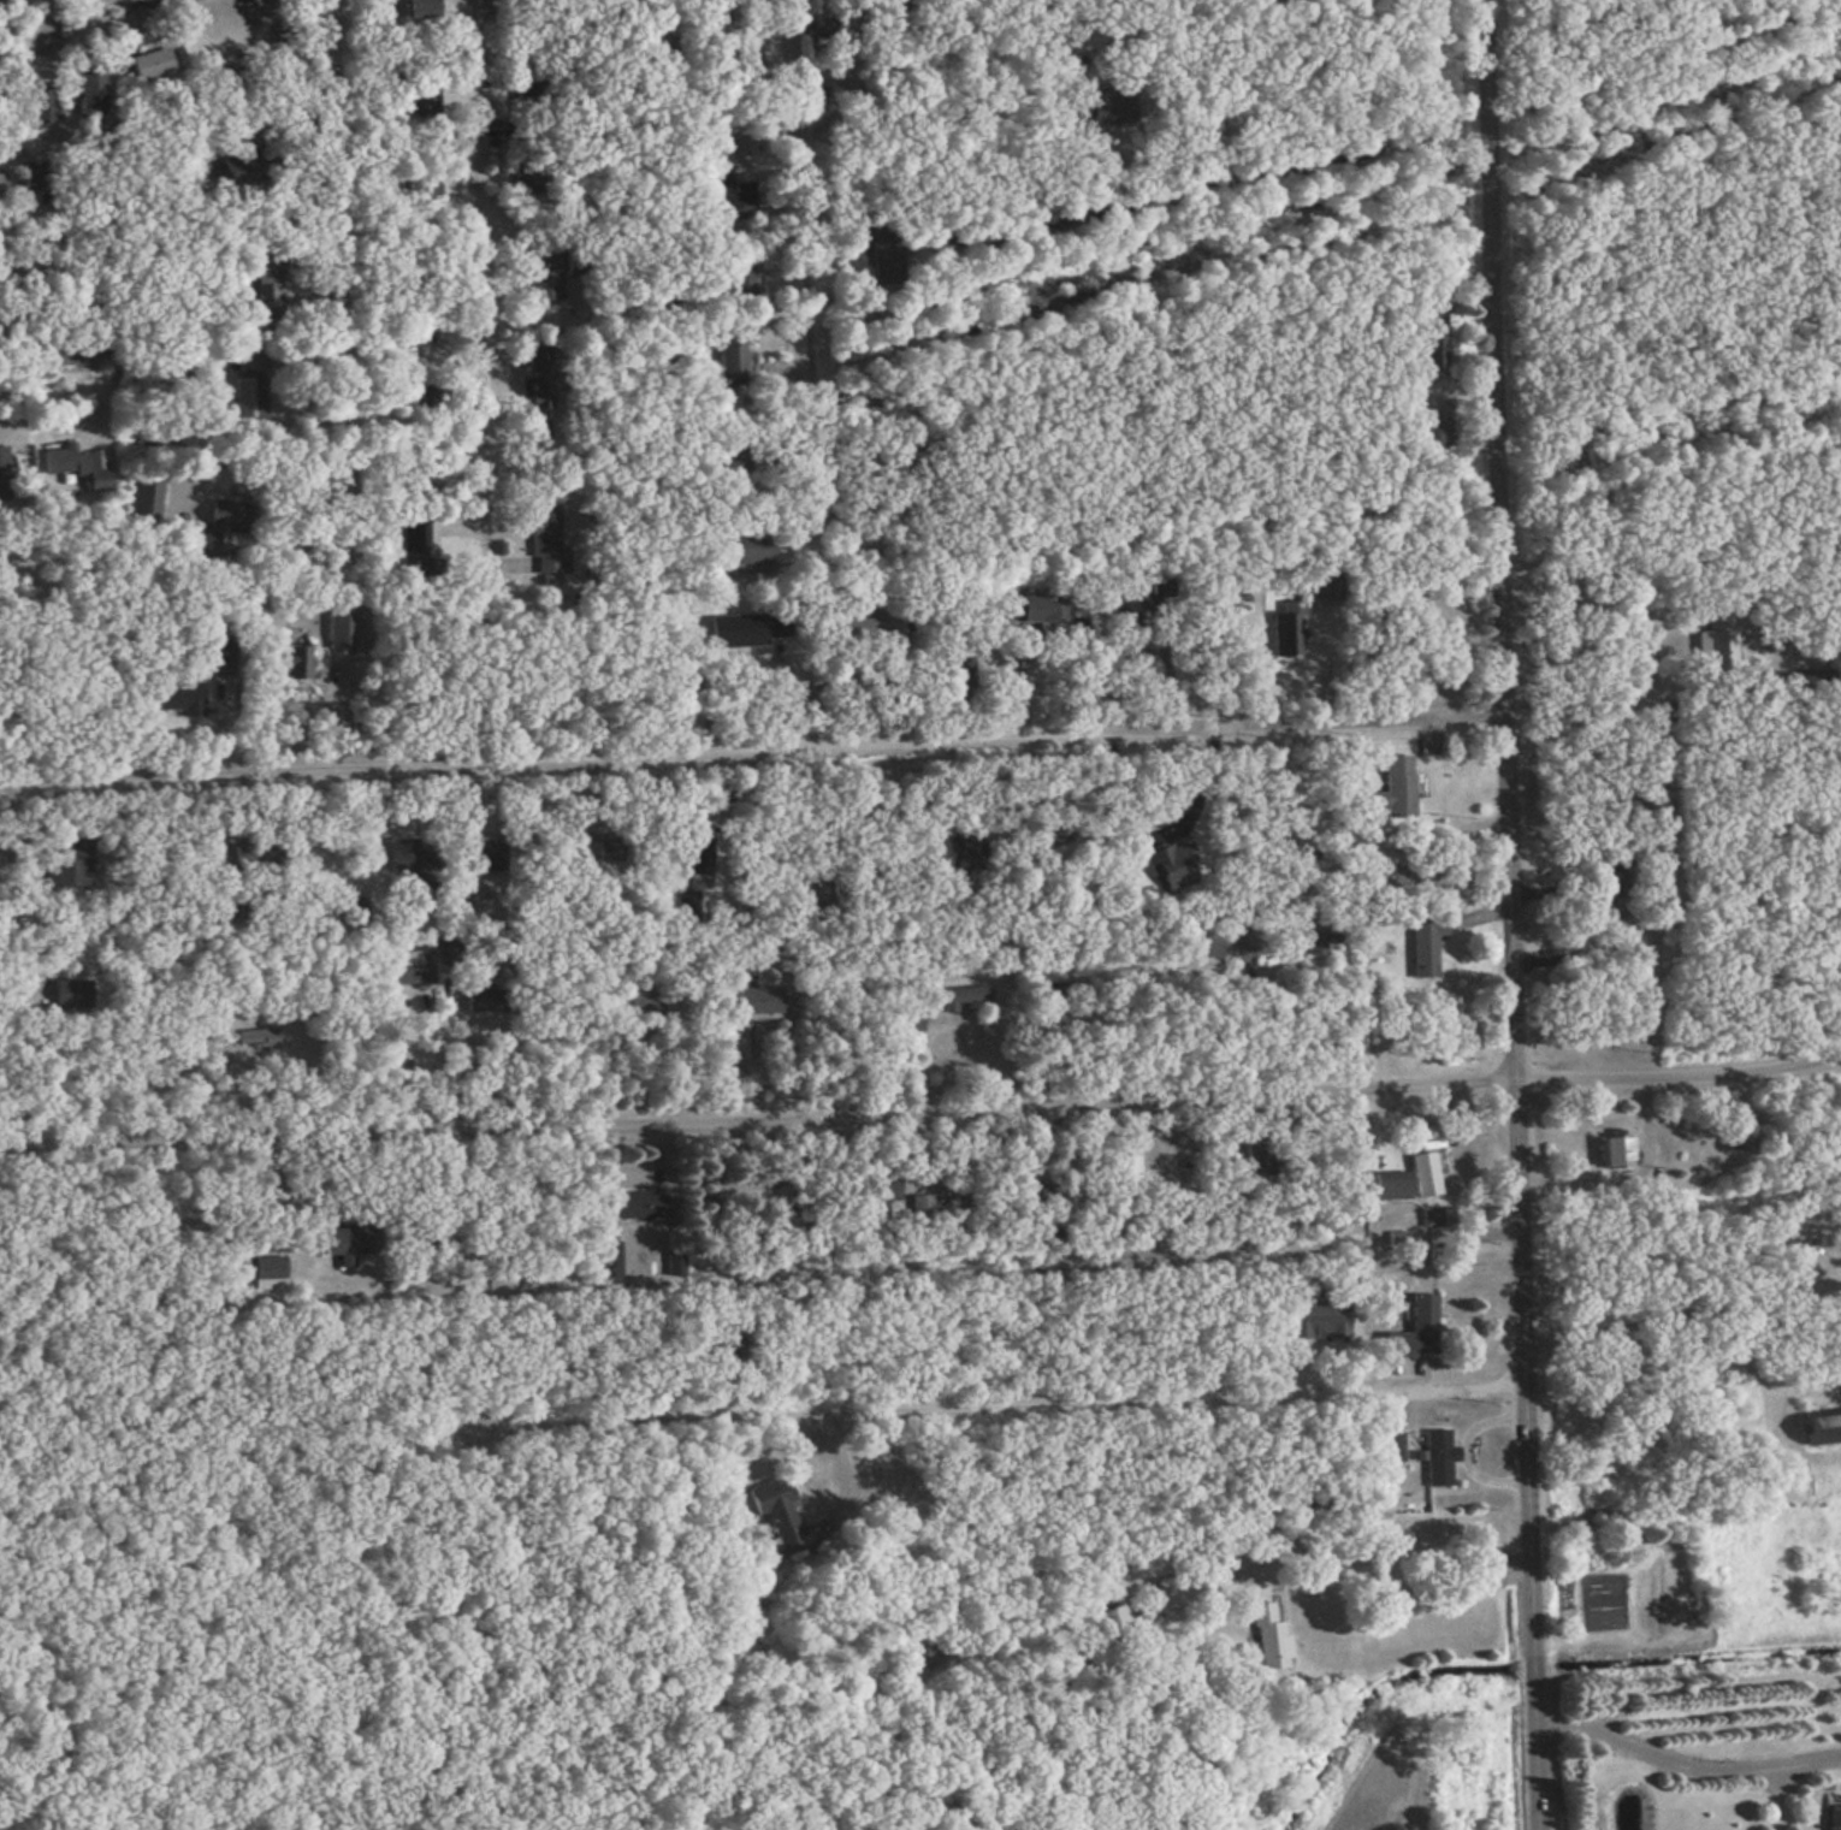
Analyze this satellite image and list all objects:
building: (422, 8)
road: (634, 22)
building: (658, 49)
building: (150, 65)
building: (528, 93)
road: (77, 113)
building: (34, 178)
building: (0, 188)
building: (720, 189)
road: (84, 238)
building: (864, 241)
road: (813, 279)
road: (485, 280)
road: (338, 283)
building: (267, 290)
building: (540, 291)
building: (1433, 348)
building: (730, 354)
road: (87, 357)
building: (537, 378)
building: (247, 396)
building: (432, 399)
building: (872, 416)
building: (65, 461)
building: (4, 474)
building: (146, 502)
building: (226, 520)
building: (415, 535)
building: (546, 543)
building: (751, 551)
building: (1322, 588)
building: (1153, 593)
building: (1041, 609)
building: (865, 626)
building: (769, 627)
building: (342, 632)
building: (1286, 635)
building: (1717, 639)
building: (223, 656)
building: (297, 664)
building: (960, 676)
building: (179, 698)
road: (751, 742)
building: (1396, 788)
building: (608, 852)
building: (699, 855)
building: (954, 855)
building: (492, 857)
building: (1172, 866)
building: (412, 870)
building: (69, 871)
building: (1411, 875)
building: (1616, 876)
road: (1508, 914)
building: (1315, 936)
building: (1426, 943)
building: (1206, 944)
building: (410, 969)
building: (965, 1000)
building: (485, 1002)
building: (760, 1002)
building: (644, 1005)
building: (257, 1041)
road: (922, 1112)
building: (1431, 1135)
building: (1741, 1137)
building: (1617, 1154)
building: (1256, 1161)
building: (1425, 1177)
building: (884, 1184)
building: (1392, 1190)
building: (775, 1200)
building: (640, 1206)
building: (917, 1209)
building: (1432, 1219)
building: (347, 1245)
building: (608, 1259)
building: (268, 1273)
road: (1114, 1299)
building: (1318, 1320)
building: (1416, 1332)
road: (700, 1355)
road: (1085, 1403)
building: (1823, 1432)
building: (1393, 1447)
building: (1438, 1458)
building: (779, 1515)
building: (1265, 1633)
building: (1835, 1817)

